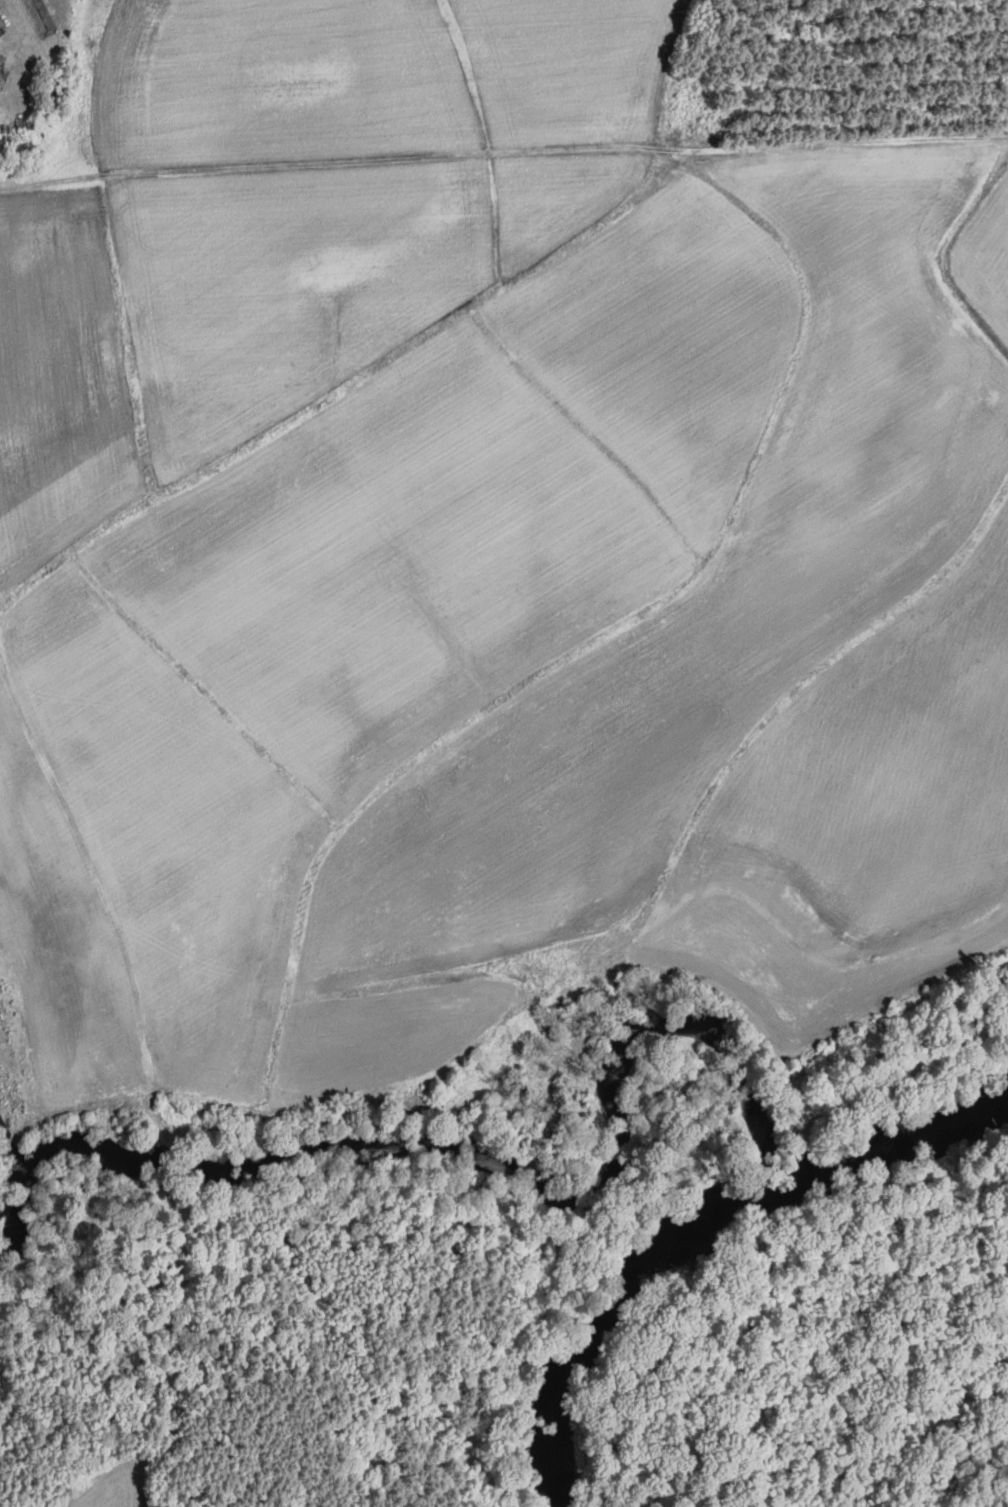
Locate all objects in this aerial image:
river: (853, 1163)
river: (571, 1348)

